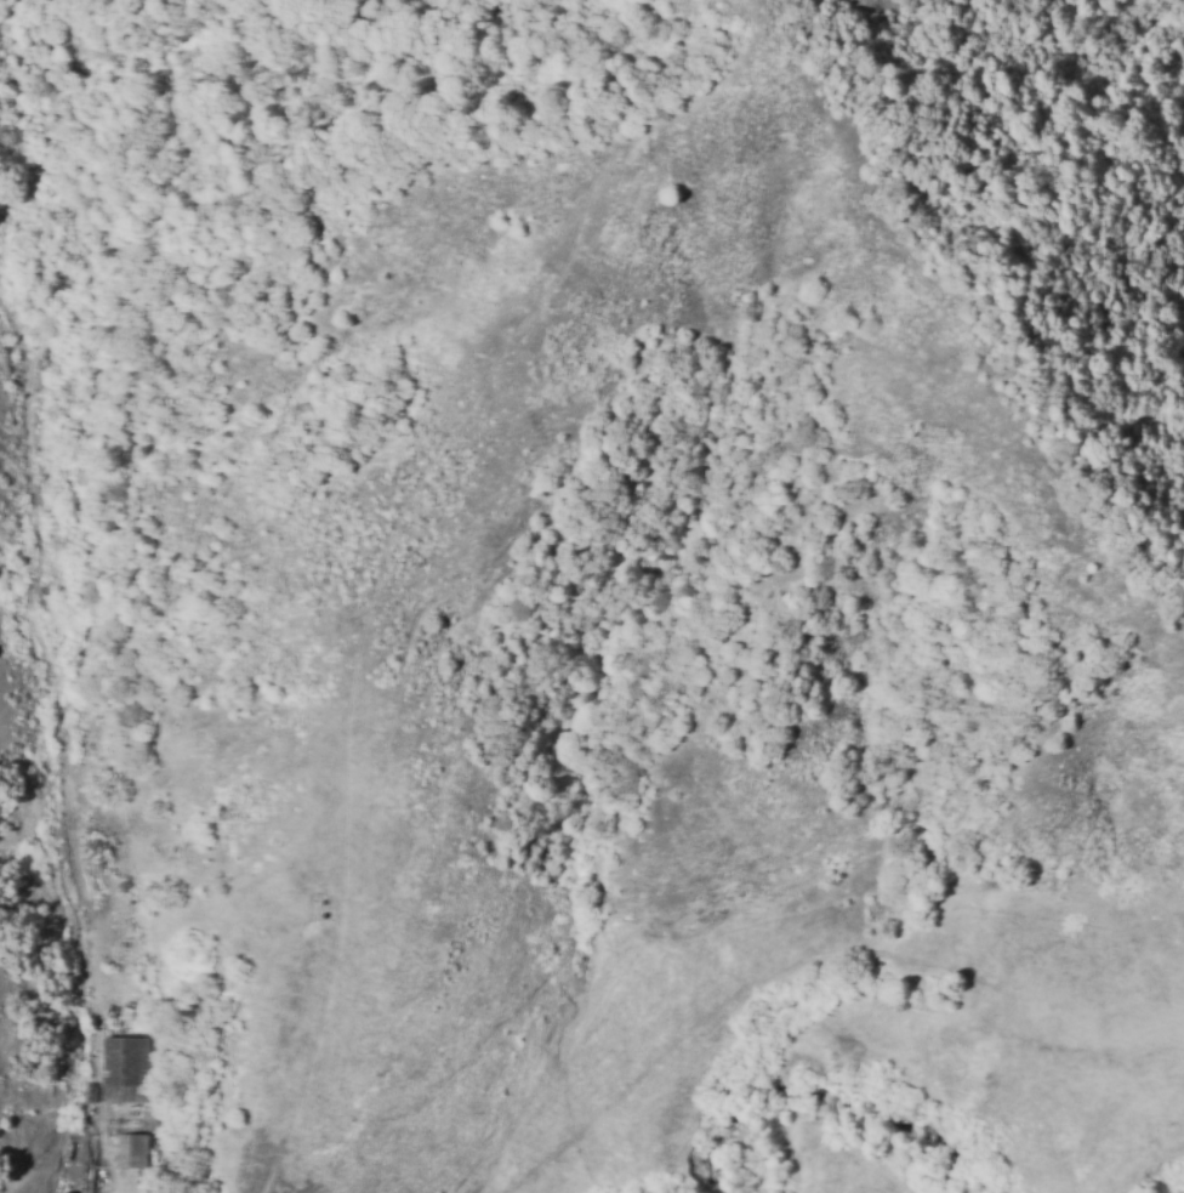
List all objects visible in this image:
building: (121, 1070)
building: (129, 1152)

